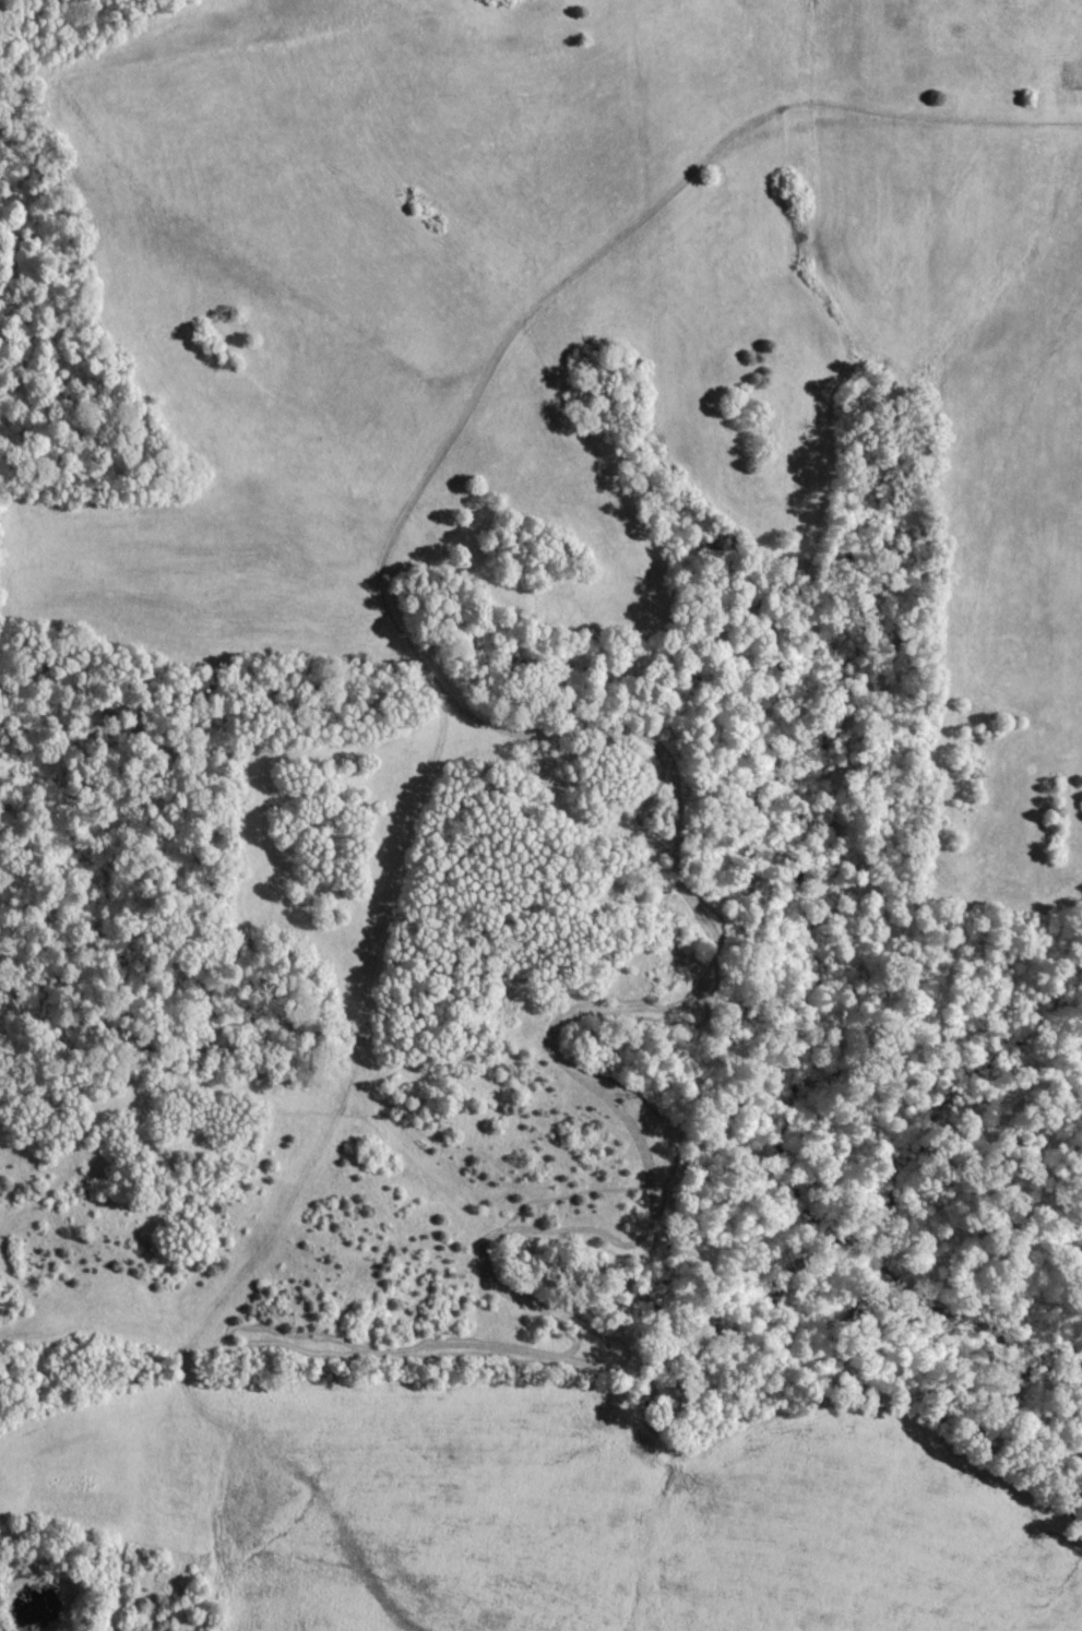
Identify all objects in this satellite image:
road: (442, 716)

